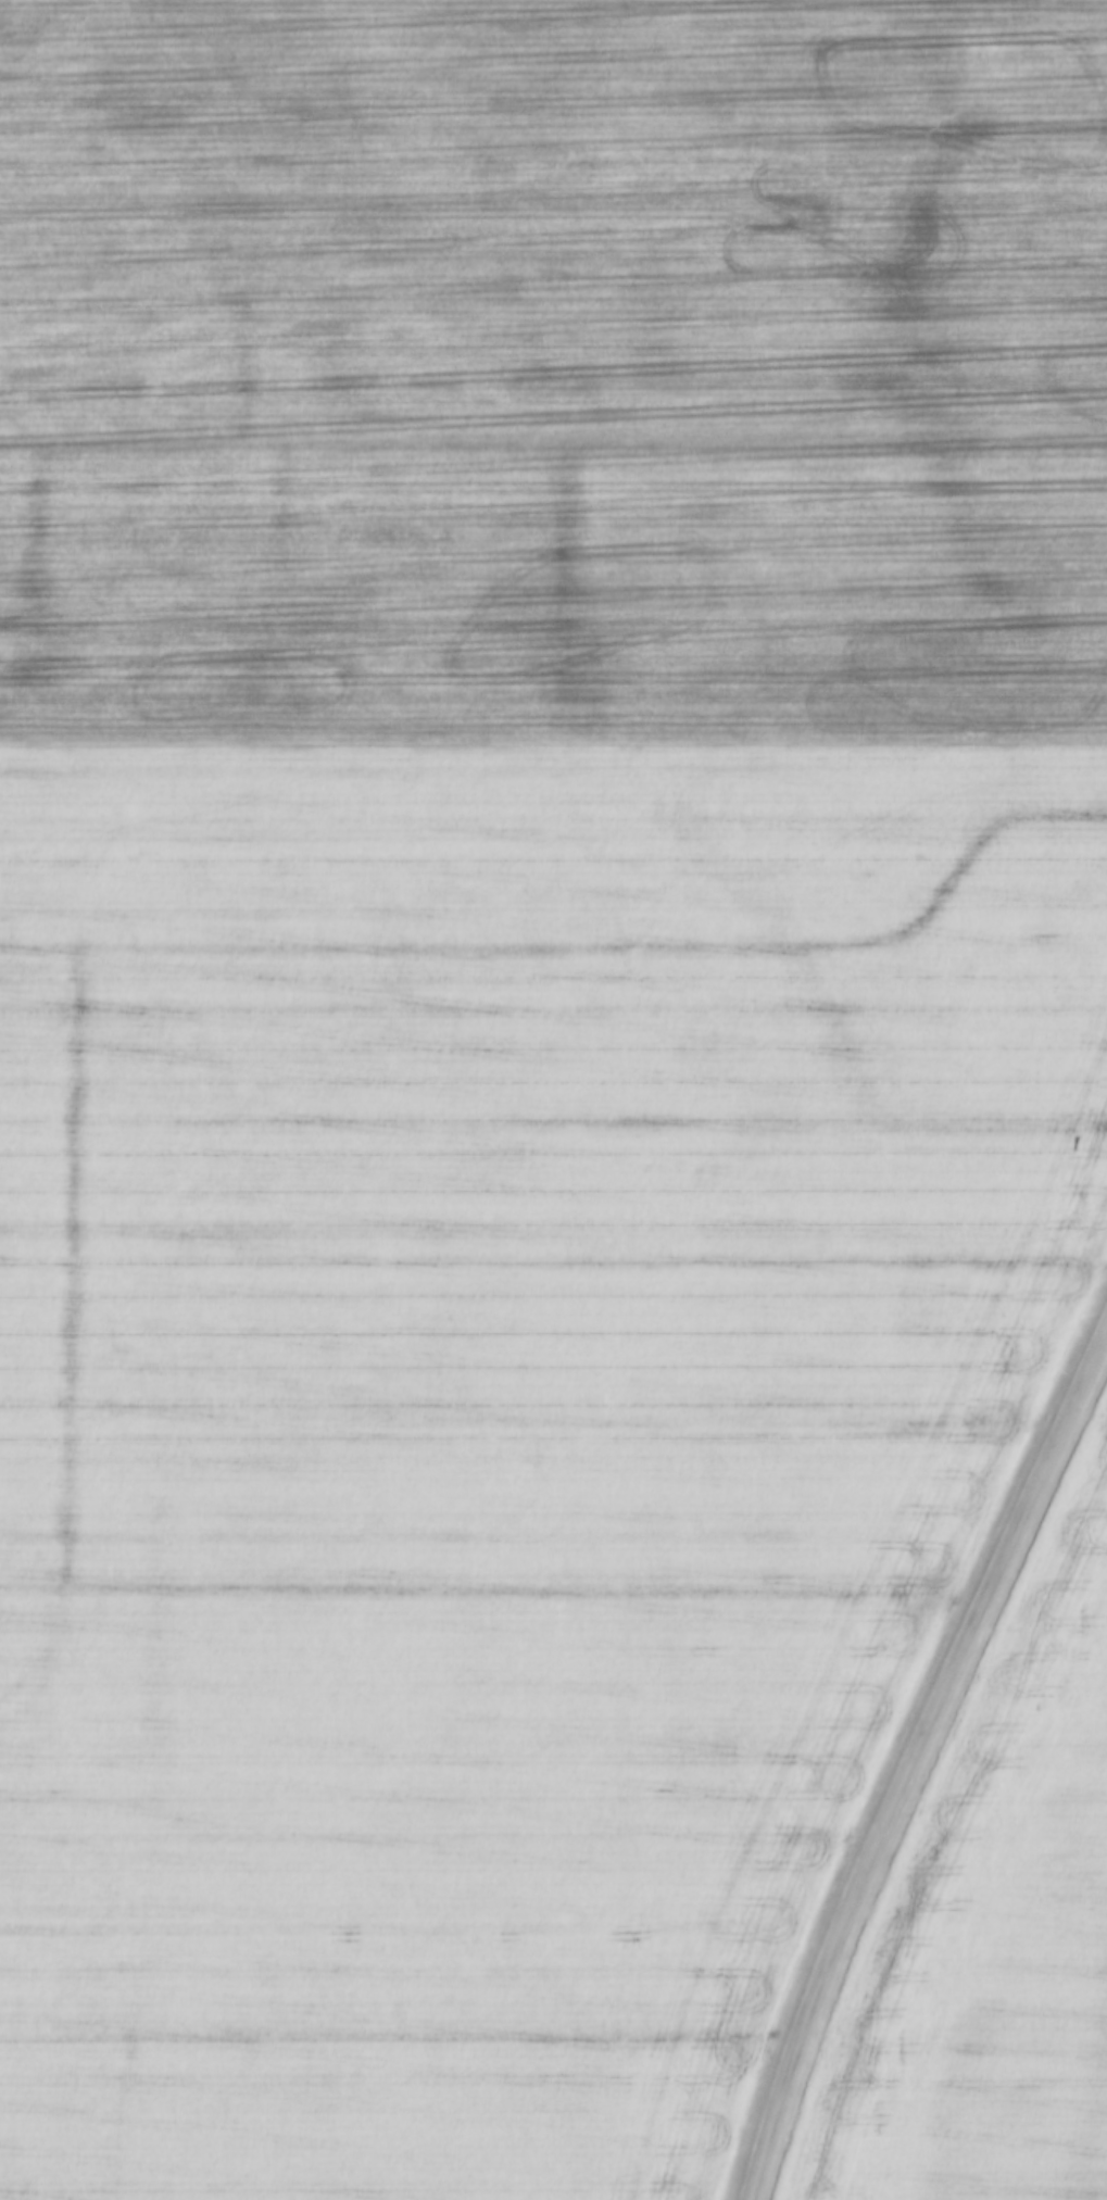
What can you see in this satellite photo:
road: (553, 745)
road: (915, 1763)

